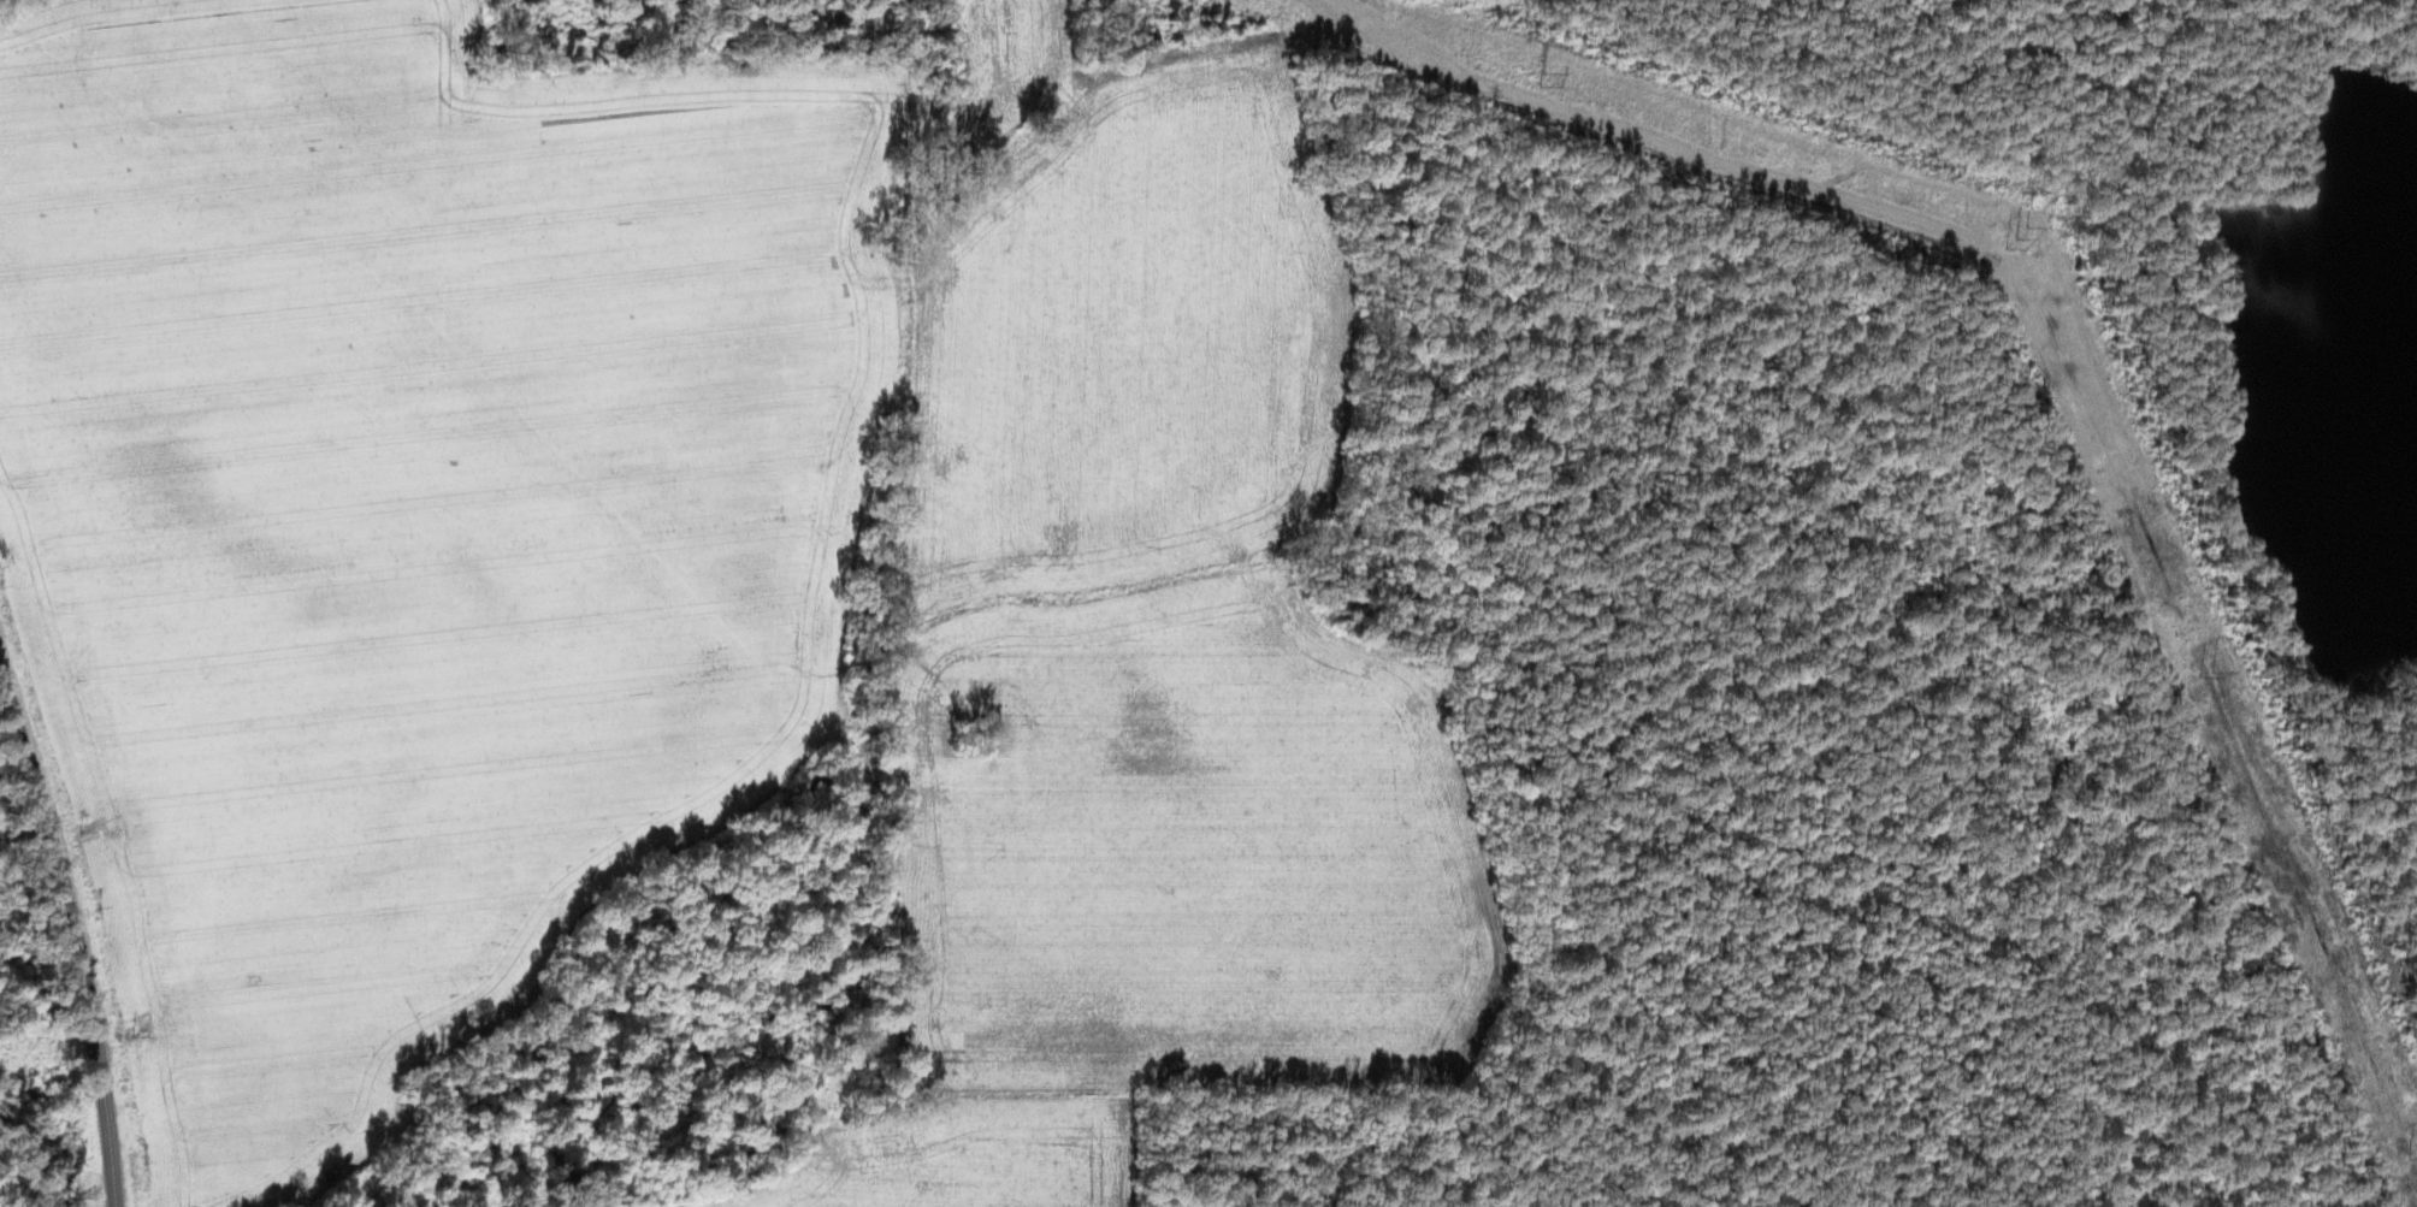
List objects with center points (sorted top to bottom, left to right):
power tower: (1542, 81)
power tower: (2021, 238)
power tower: (2280, 829)
road: (75, 928)

